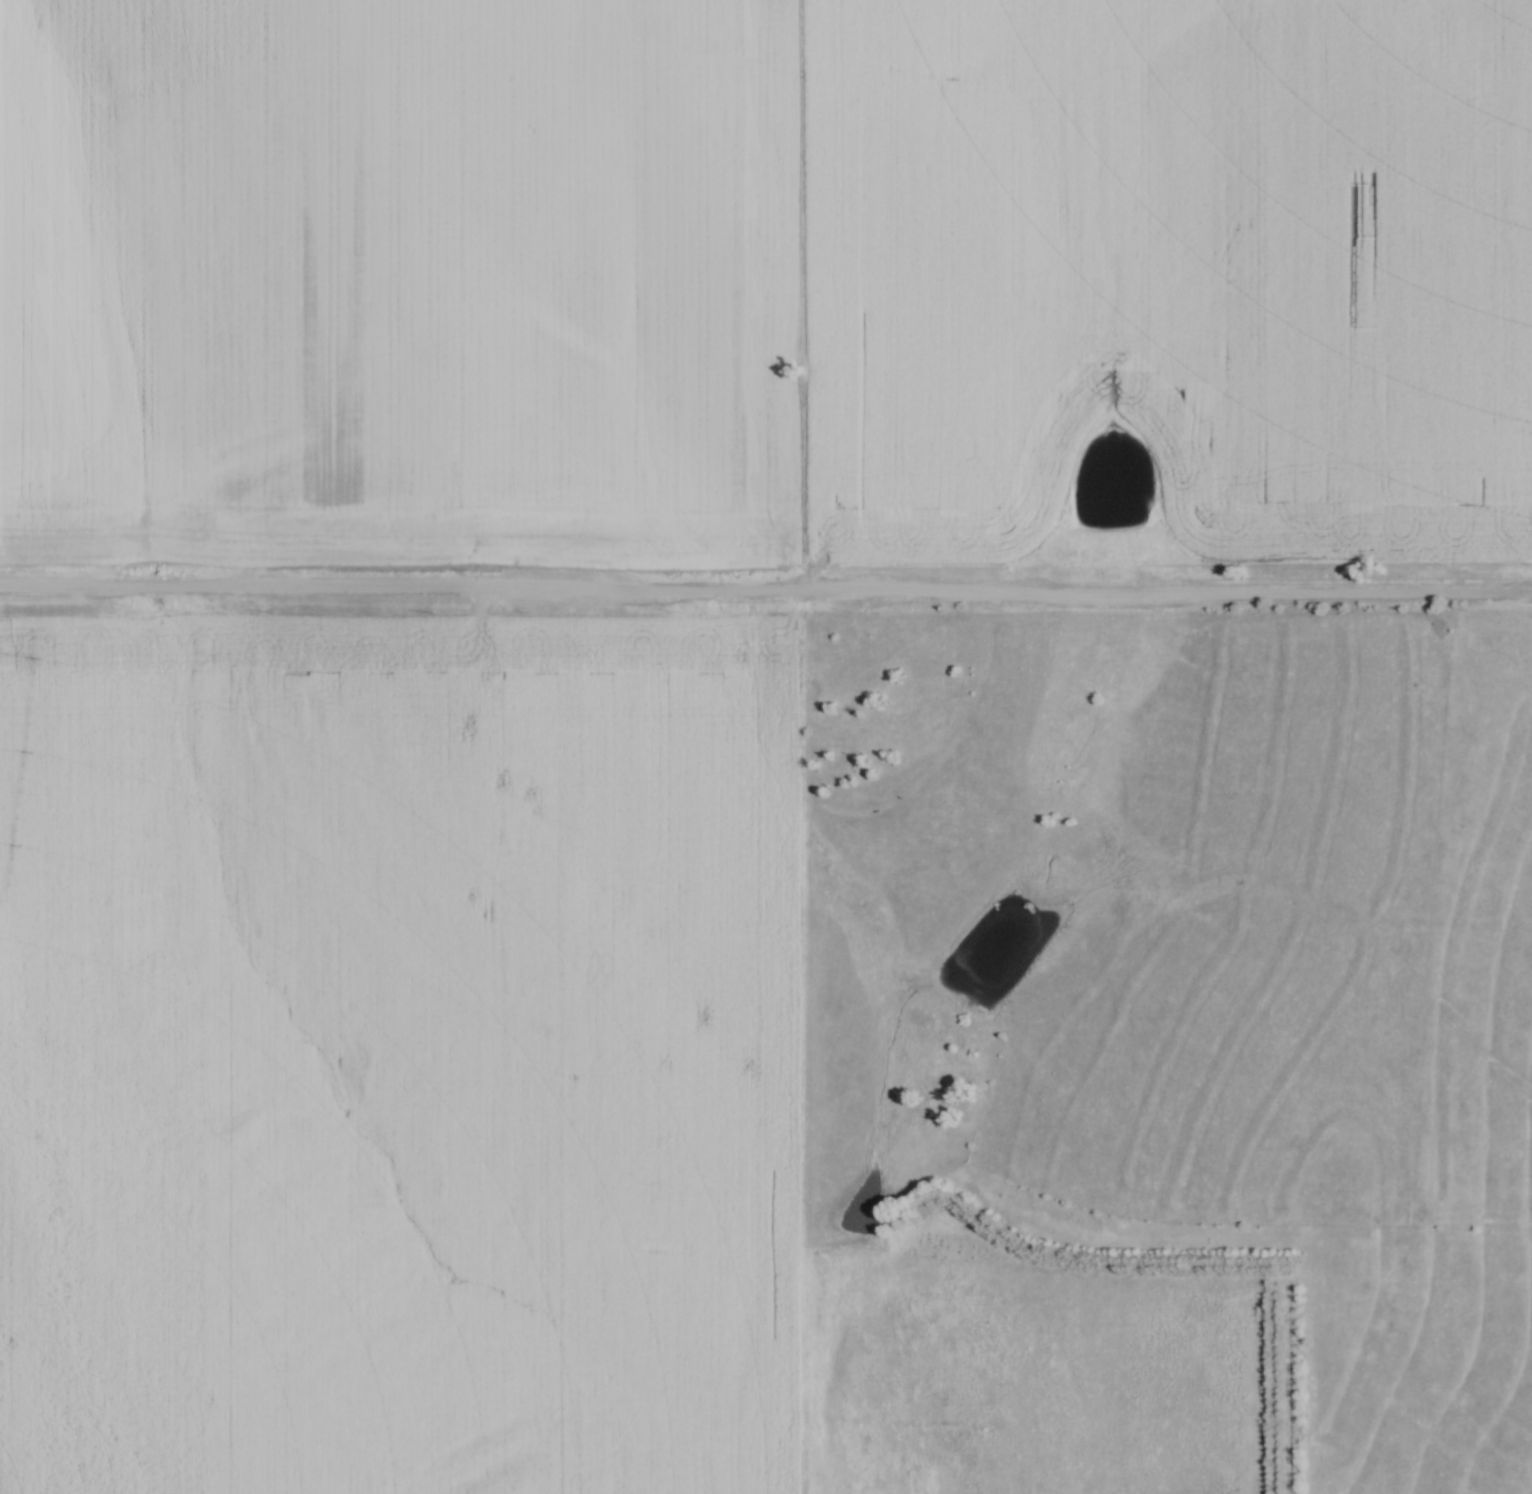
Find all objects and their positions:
road: (766, 600)

